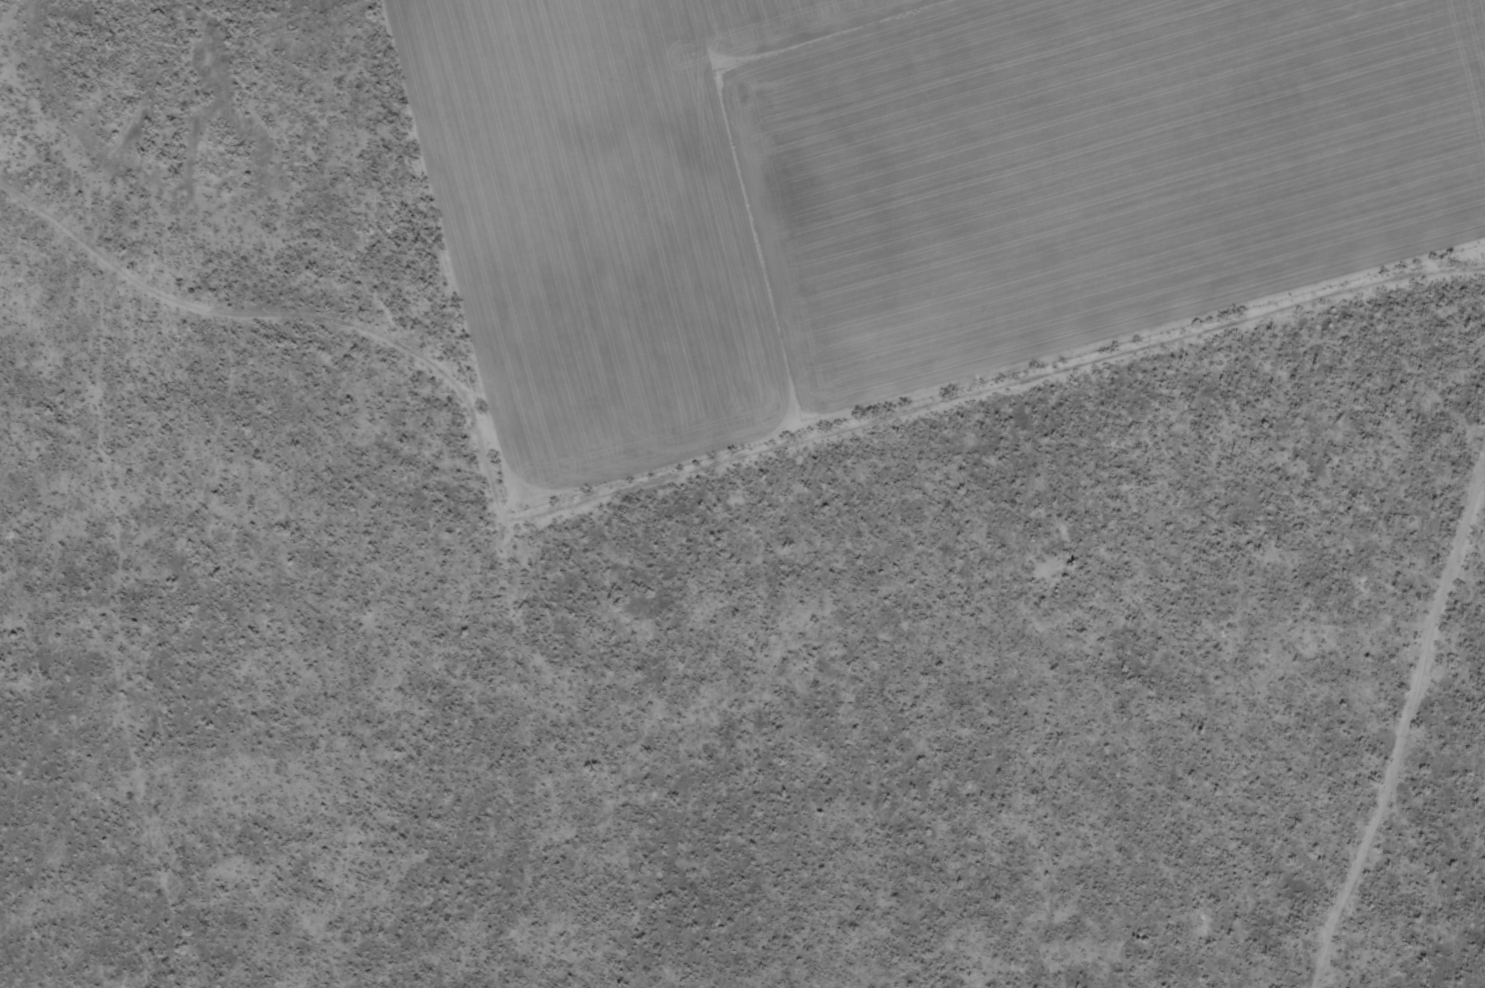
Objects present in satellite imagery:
road: (712, 441)
road: (1417, 784)

